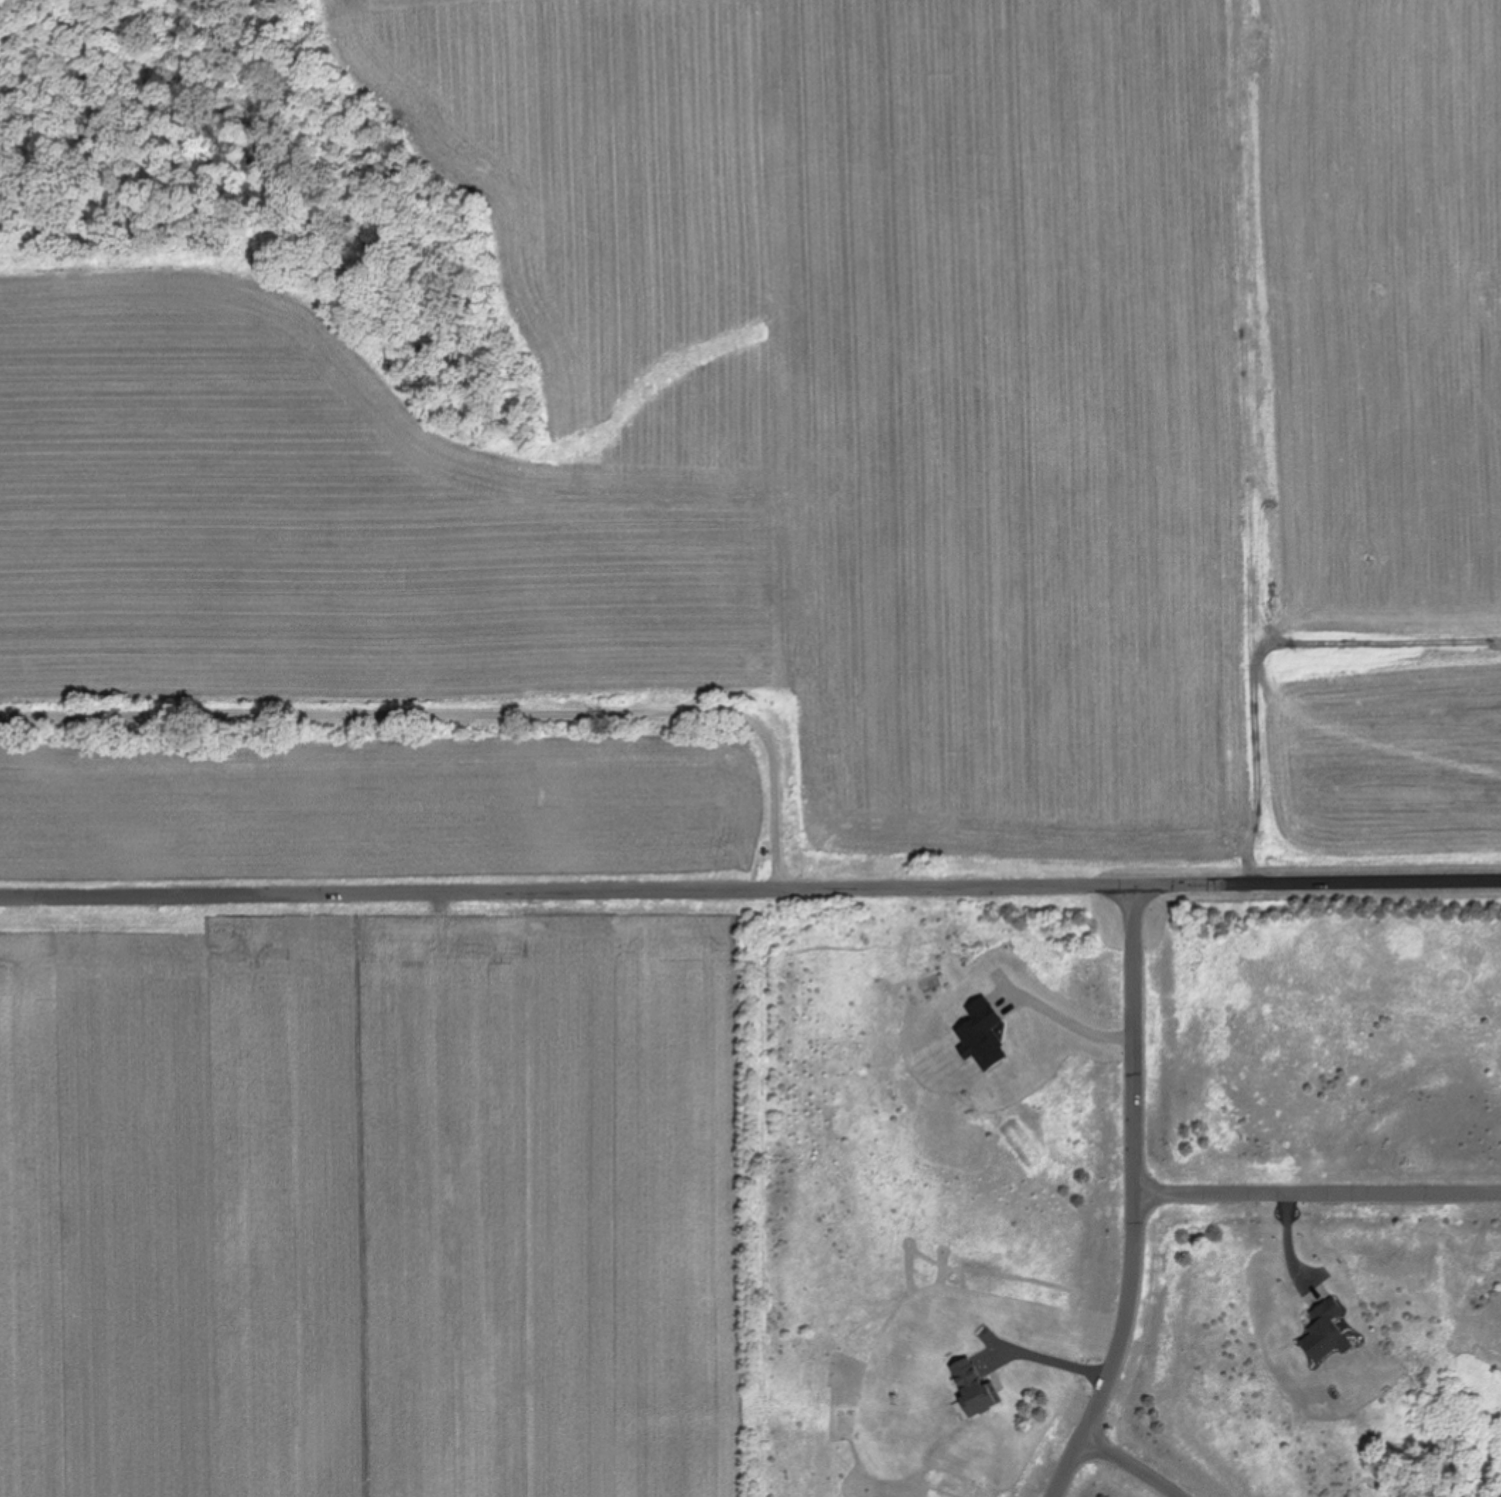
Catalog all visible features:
crop: (864, 422)
road: (465, 711)
crop: (377, 812)
road: (750, 893)
road: (1140, 1169)
road: (1321, 1198)
crop: (375, 1199)
road: (1047, 1366)
road: (1134, 1467)
road: (1072, 1469)

